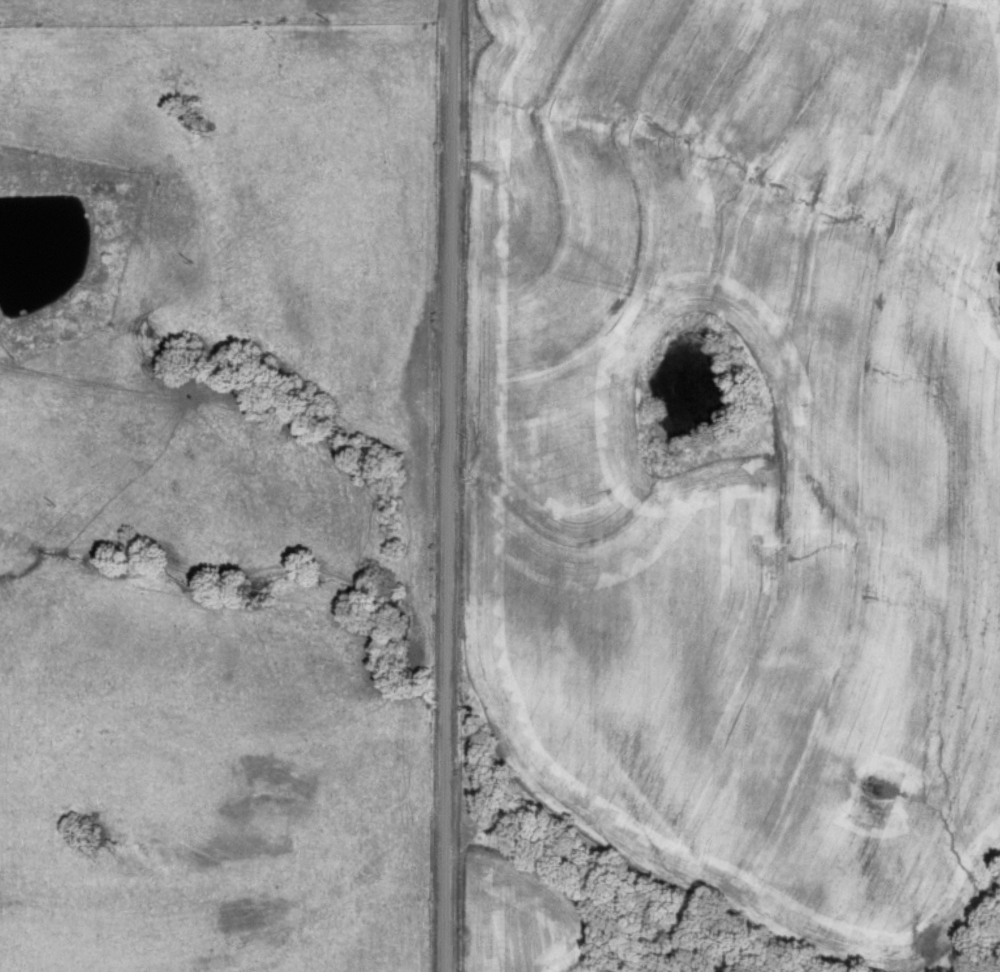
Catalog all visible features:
road: (455, 486)

